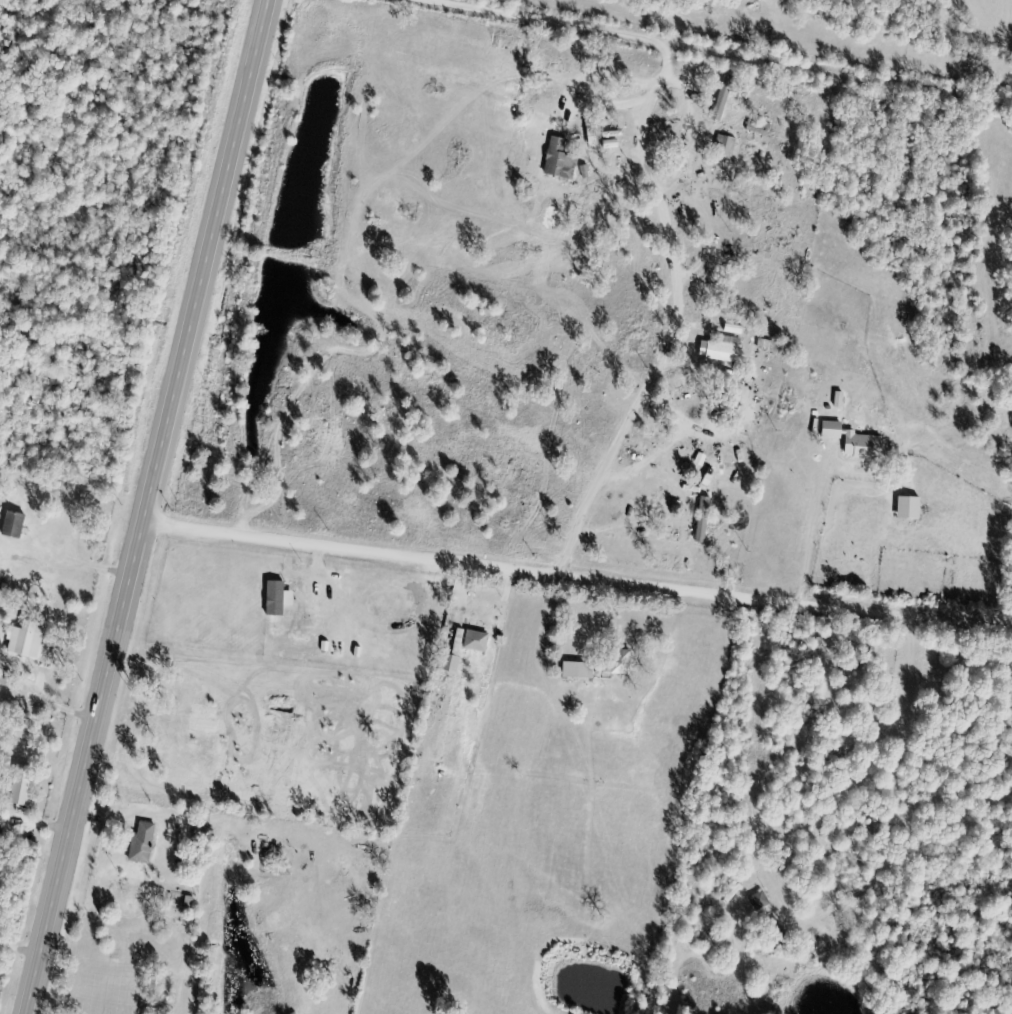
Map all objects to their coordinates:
road: (532, 20)
building: (725, 100)
building: (562, 157)
building: (723, 353)
building: (858, 443)
railway: (240, 501)
road: (148, 506)
building: (912, 510)
building: (706, 522)
building: (16, 527)
road: (813, 530)
road: (578, 574)
building: (281, 601)
building: (28, 641)
building: (468, 650)
building: (624, 663)
building: (581, 672)
building: (7, 679)
building: (25, 787)
building: (145, 843)

